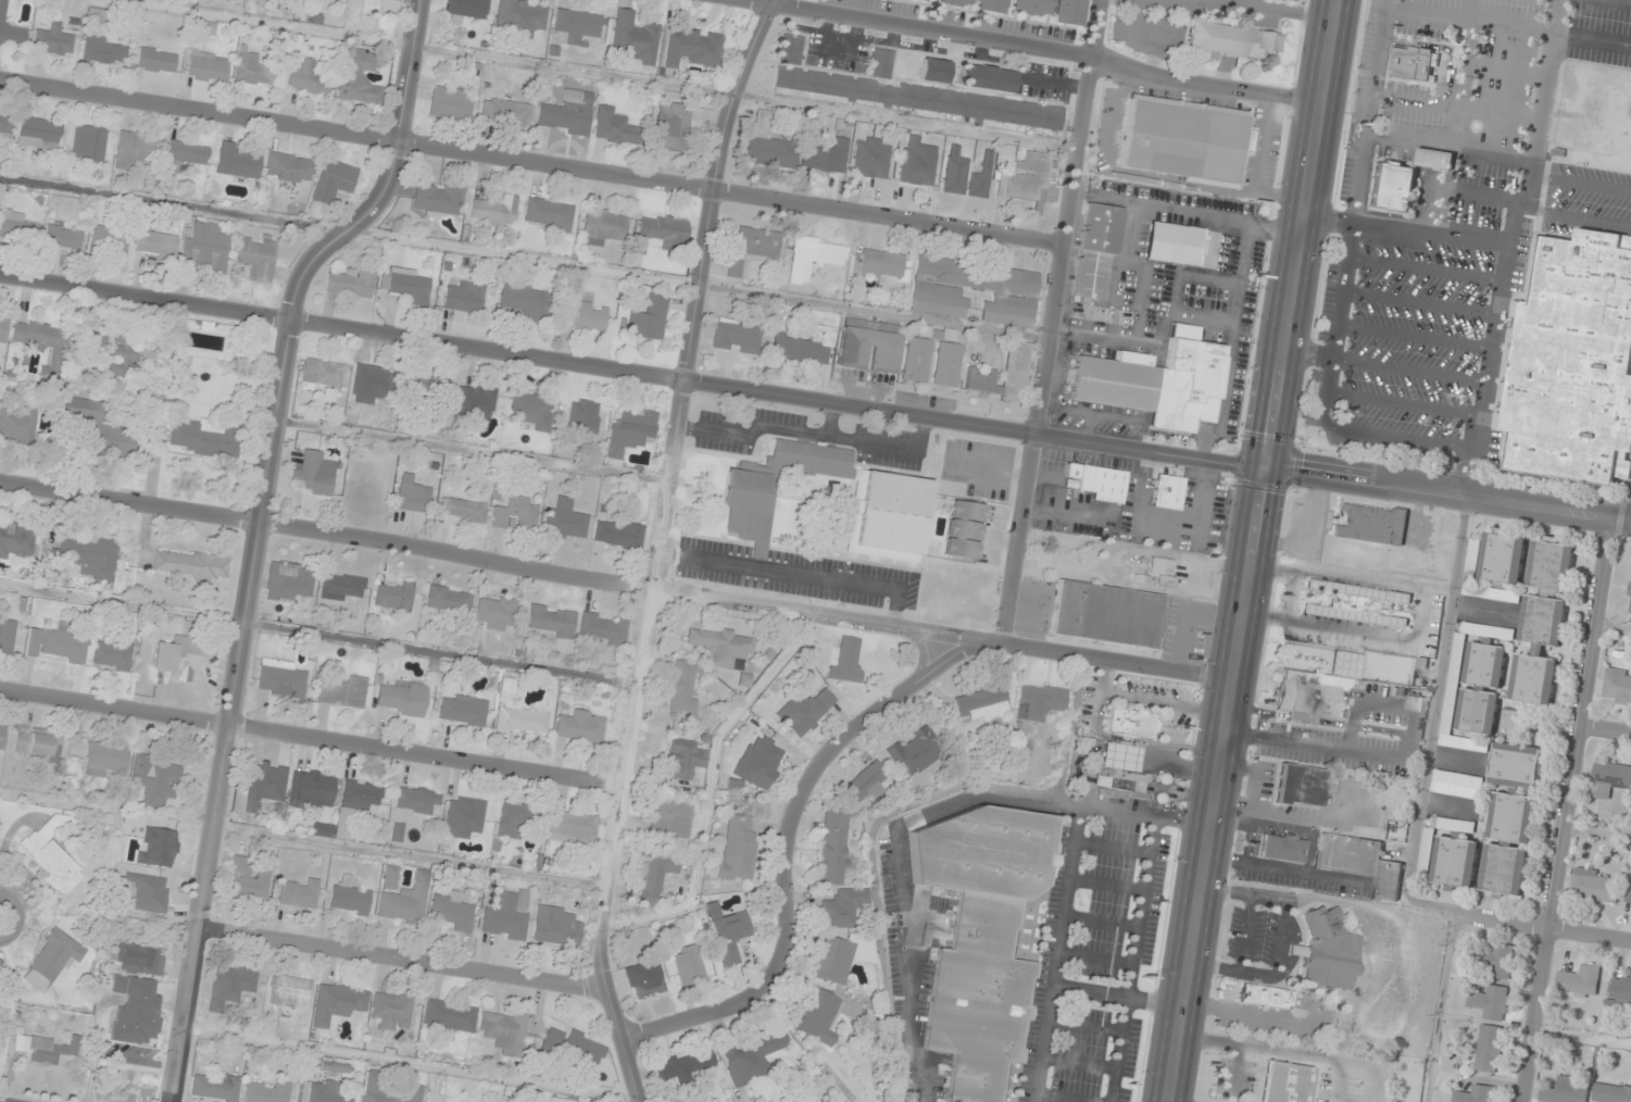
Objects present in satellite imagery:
building: (393, 0)
building: (924, 0)
building: (954, 2)
building: (371, 4)
building: (990, 5)
building: (1030, 7)
building: (465, 10)
building: (1068, 12)
building: (96, 15)
building: (519, 17)
building: (578, 25)
building: (203, 26)
building: (10, 29)
building: (636, 36)
building: (1231, 39)
building: (53, 40)
building: (692, 47)
road: (1027, 48)
building: (104, 51)
building: (156, 60)
building: (881, 63)
building: (1412, 63)
building: (208, 66)
building: (254, 68)
building: (934, 70)
building: (357, 75)
building: (308, 77)
building: (987, 77)
building: (906, 93)
building: (451, 103)
building: (505, 110)
road: (1369, 112)
building: (567, 113)
building: (5, 123)
building: (673, 126)
building: (614, 127)
building: (39, 133)
building: (1184, 139)
building: (89, 142)
building: (767, 143)
building: (134, 151)
building: (185, 154)
building: (827, 155)
building: (871, 158)
road: (532, 161)
building: (237, 162)
building: (289, 167)
building: (918, 168)
building: (954, 170)
building: (981, 177)
building: (1403, 178)
building: (334, 180)
building: (1029, 181)
road: (1581, 184)
building: (437, 199)
building: (494, 211)
building: (549, 213)
road: (1574, 220)
building: (16, 225)
building: (602, 225)
road: (1406, 230)
building: (663, 231)
building: (61, 234)
building: (110, 238)
building: (156, 243)
building: (1172, 243)
building: (751, 247)
road: (1508, 247)
building: (205, 248)
building: (1095, 249)
building: (814, 256)
building: (256, 258)
building: (880, 264)
road: (1425, 270)
building: (351, 283)
building: (405, 286)
building: (934, 293)
road: (145, 296)
building: (464, 297)
building: (525, 300)
road: (1419, 304)
road: (1339, 308)
building: (586, 316)
building: (649, 318)
road: (1054, 322)
building: (3, 327)
building: (736, 336)
road: (1414, 337)
building: (46, 343)
building: (92, 346)
building: (805, 347)
building: (868, 350)
building: (127, 351)
road: (1307, 354)
building: (916, 362)
building: (1573, 364)
building: (1015, 368)
road: (1408, 371)
building: (325, 376)
building: (1153, 381)
building: (371, 383)
building: (428, 389)
building: (475, 400)
road: (1403, 404)
building: (532, 411)
building: (586, 412)
building: (20, 423)
road: (959, 423)
building: (104, 429)
building: (630, 431)
road: (1383, 436)
building: (206, 437)
traffic signals: (1265, 467)
building: (315, 474)
building: (1097, 481)
building: (1167, 491)
building: (890, 492)
building: (411, 497)
building: (463, 510)
building: (516, 514)
building: (565, 522)
building: (1370, 524)
building: (962, 529)
road: (255, 531)
building: (618, 534)
building: (16, 541)
road: (661, 548)
road: (1252, 550)
building: (88, 558)
building: (1496, 559)
building: (190, 564)
building: (1155, 573)
building: (287, 580)
road: (615, 585)
building: (341, 587)
building: (394, 597)
building: (1630, 598)
building: (449, 599)
building: (1356, 603)
building: (495, 612)
building: (1630, 612)
building: (1106, 614)
building: (551, 621)
building: (1542, 621)
road: (1613, 627)
building: (603, 628)
building: (7, 635)
building: (59, 643)
building: (722, 646)
building: (112, 654)
building: (179, 658)
building: (846, 661)
building: (280, 679)
building: (682, 687)
building: (1617, 687)
building: (1482, 688)
building: (1316, 690)
building: (343, 692)
building: (402, 699)
building: (1039, 702)
building: (982, 704)
building: (462, 710)
building: (804, 711)
building: (517, 713)
building: (1131, 723)
building: (1511, 723)
building: (580, 727)
road: (1606, 729)
building: (2, 736)
road: (313, 738)
building: (38, 743)
building: (915, 752)
building: (105, 759)
building: (683, 759)
building: (758, 763)
building: (1517, 766)
building: (1119, 772)
building: (1609, 779)
building: (155, 780)
building: (868, 782)
building: (263, 785)
building: (1298, 785)
building: (312, 788)
building: (362, 794)
building: (417, 800)
road: (1568, 811)
building: (463, 817)
building: (1513, 818)
building: (513, 819)
building: (669, 819)
building: (570, 827)
building: (329, 831)
road: (1598, 832)
building: (156, 847)
building: (737, 847)
building: (832, 848)
building: (1280, 848)
building: (51, 855)
road: (786, 859)
building: (1360, 862)
building: (1426, 862)
building: (1456, 863)
building: (1504, 869)
building: (655, 875)
building: (247, 879)
building: (1595, 887)
building: (1628, 889)
building: (148, 892)
building: (299, 894)
building: (349, 898)
building: (403, 898)
building: (842, 907)
building: (452, 910)
building: (506, 915)
road: (16, 916)
building: (555, 927)
road: (1545, 928)
building: (729, 937)
building: (980, 940)
building: (1329, 951)
building: (140, 959)
road: (402, 959)
building: (836, 959)
building: (52, 960)
building: (1500, 962)
building: (688, 965)
building: (647, 979)
building: (1580, 981)
building: (231, 984)
building: (1621, 990)
building: (289, 991)
building: (1265, 995)
building: (138, 998)
building: (1492, 1002)
building: (338, 1003)
building: (392, 1010)
building: (450, 1015)
building: (824, 1015)
building: (504, 1031)
road: (1584, 1039)
building: (573, 1045)
building: (1489, 1047)
building: (51, 1050)
building: (750, 1055)
building: (682, 1066)
building: (1285, 1082)
building: (374, 1085)
building: (214, 1086)
building: (266, 1091)
building: (1564, 1091)
building: (321, 1093)
building: (1611, 1093)
building: (1475, 1095)
building: (559, 1100)

